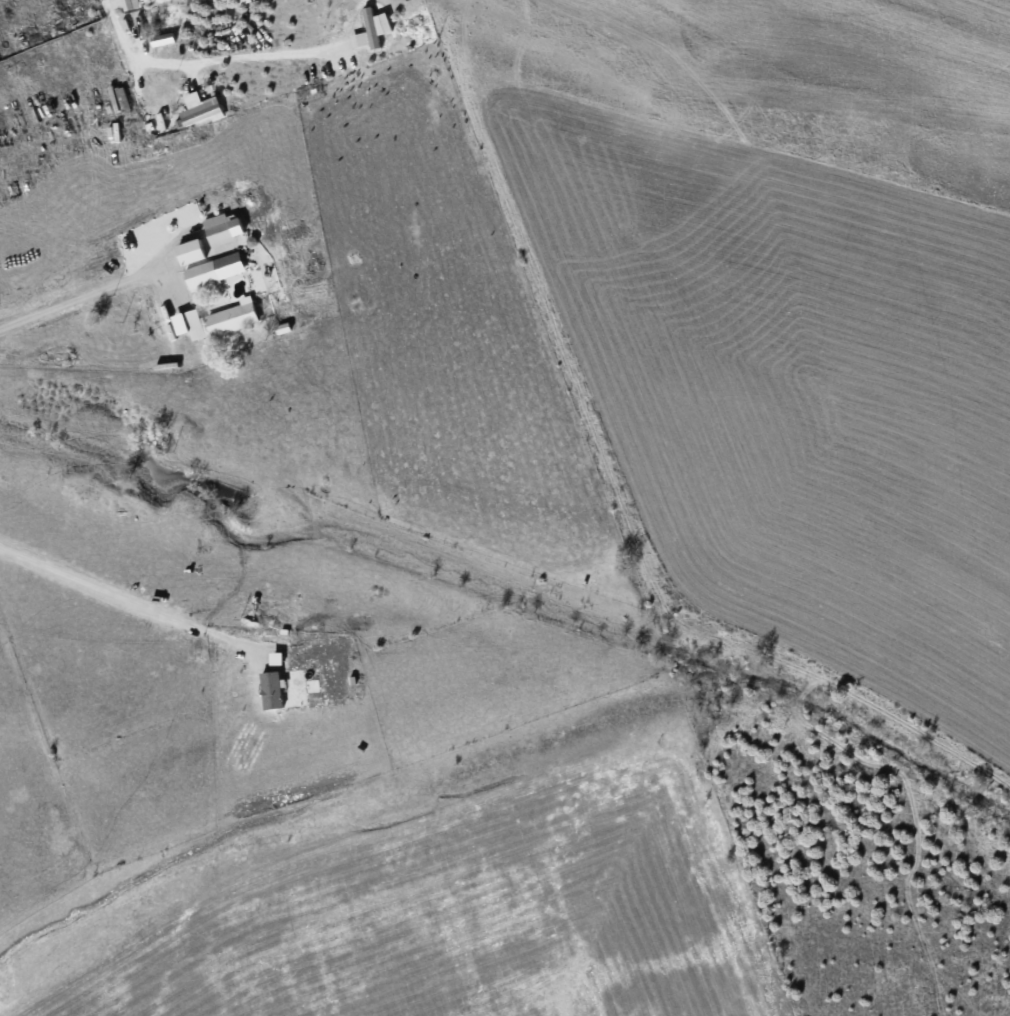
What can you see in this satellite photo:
building: (241, 2)
building: (123, 5)
building: (370, 30)
building: (162, 40)
road: (188, 58)
building: (199, 110)
building: (218, 230)
building: (189, 252)
building: (213, 271)
road: (74, 294)
building: (232, 318)
building: (188, 325)
road: (121, 595)
building: (275, 659)
building: (271, 691)

